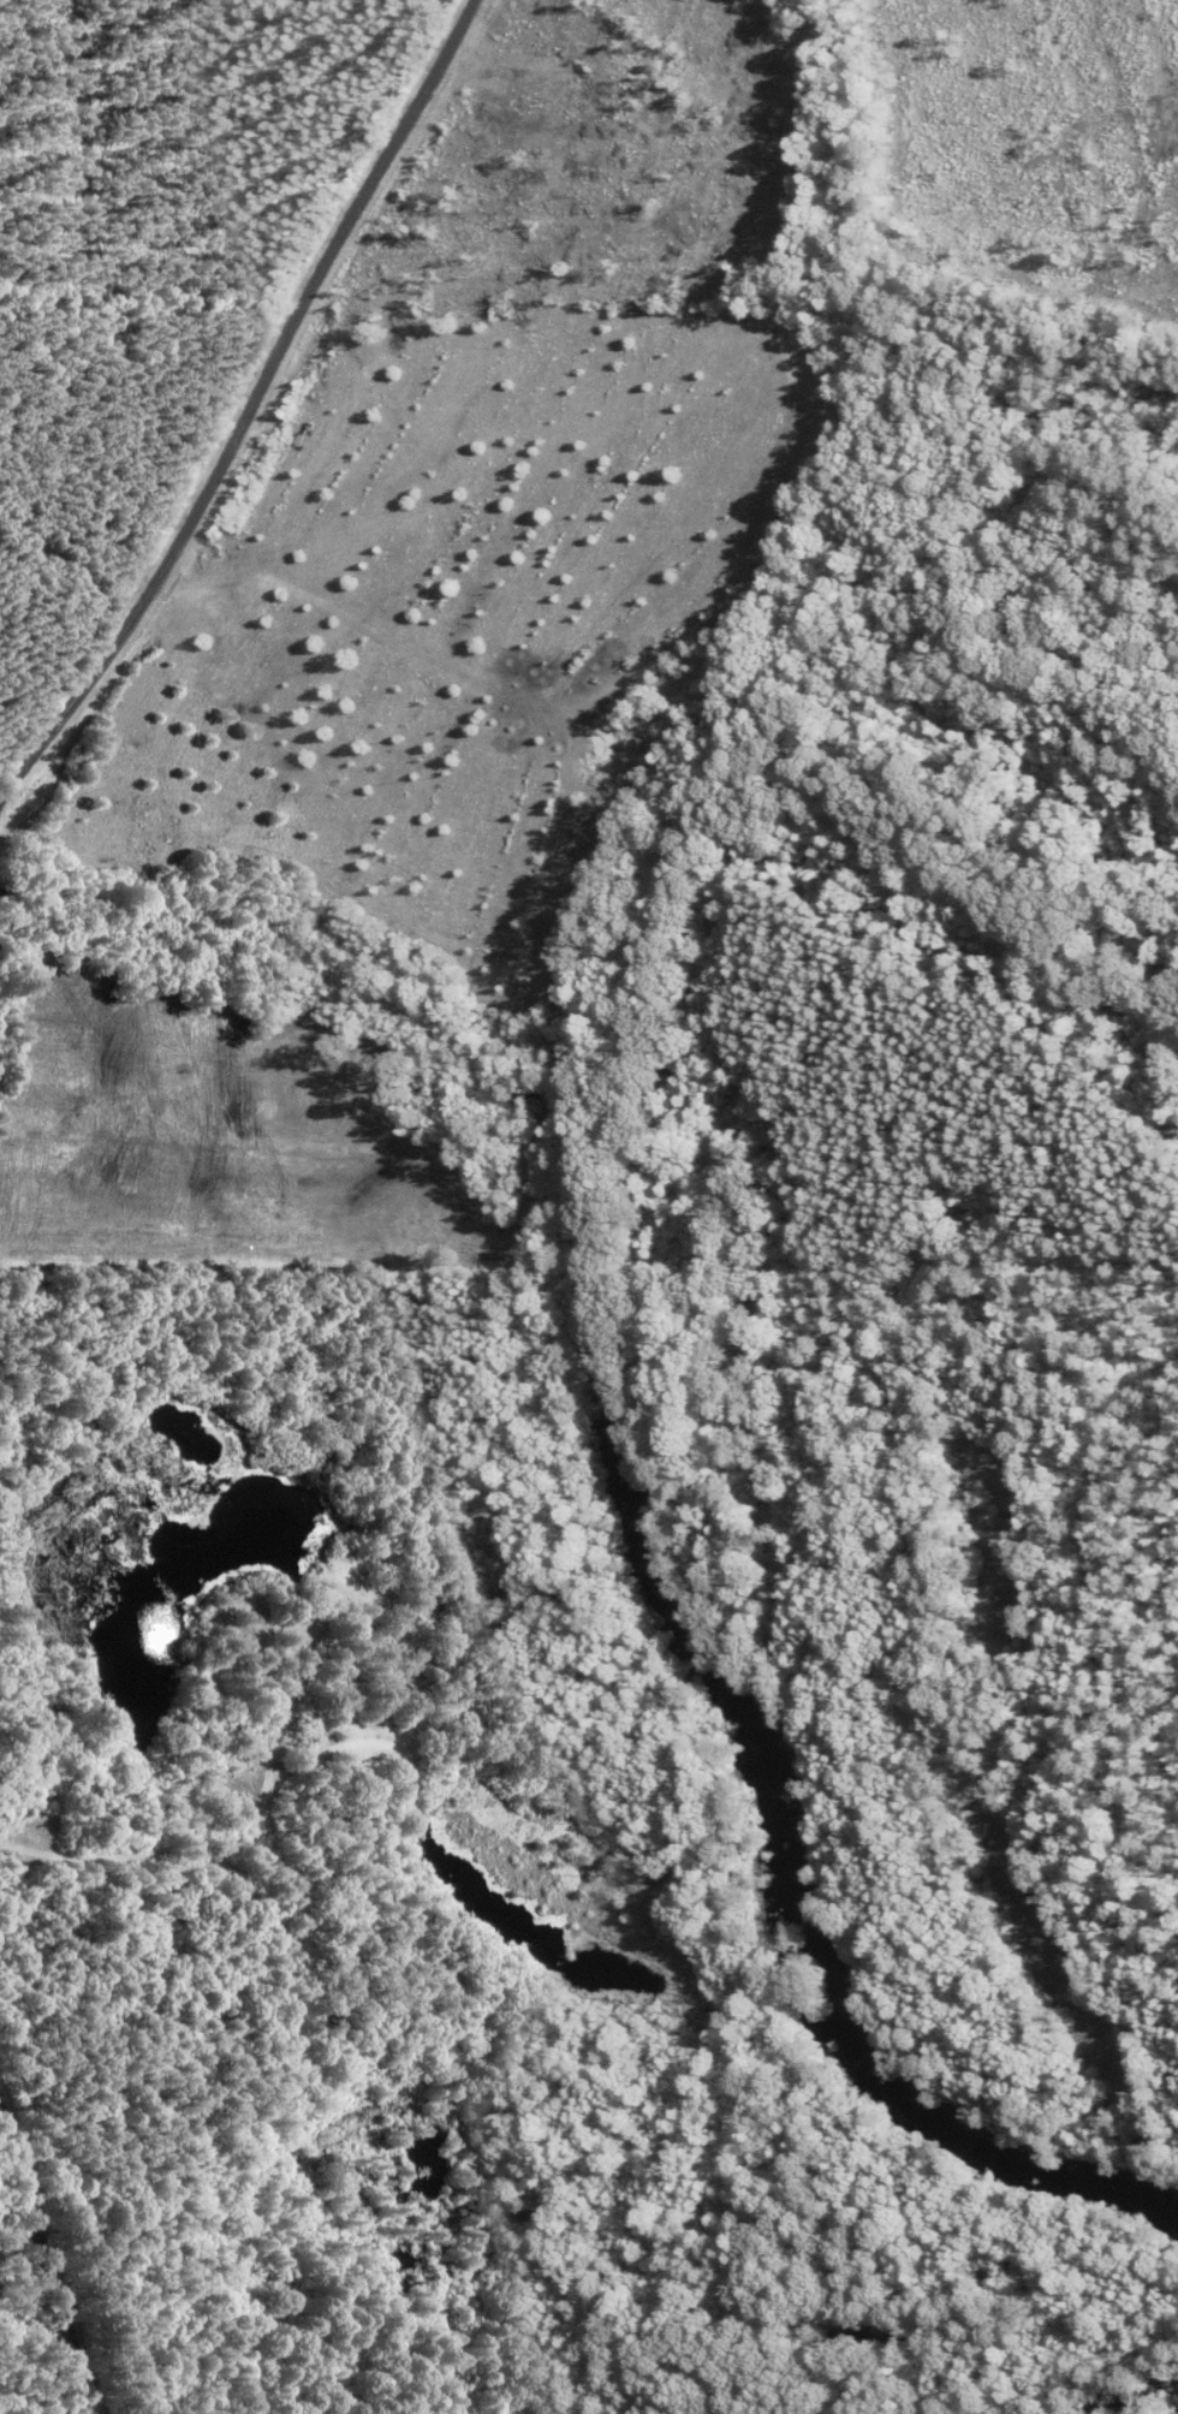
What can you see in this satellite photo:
road: (248, 406)
road: (48, 2264)

